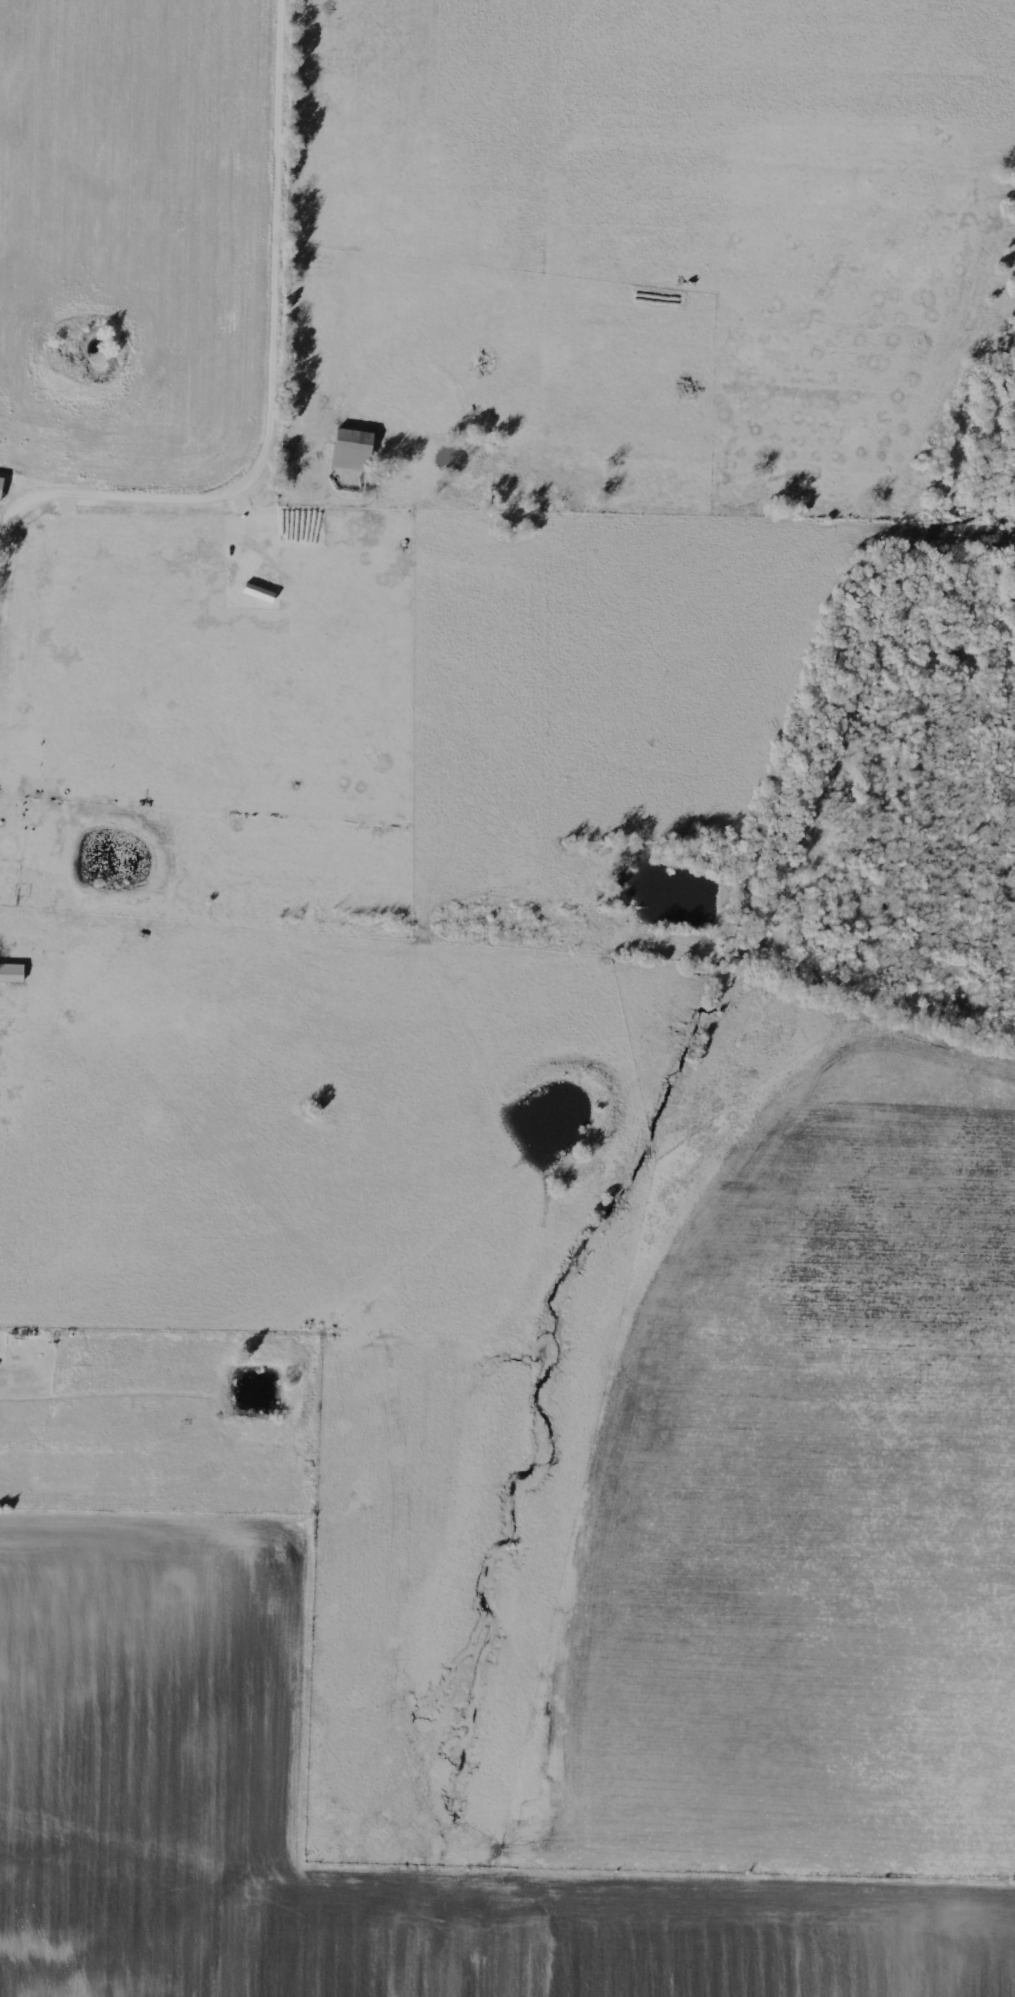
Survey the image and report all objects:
building: (353, 450)
road: (273, 472)
building: (1, 487)
building: (12, 974)

